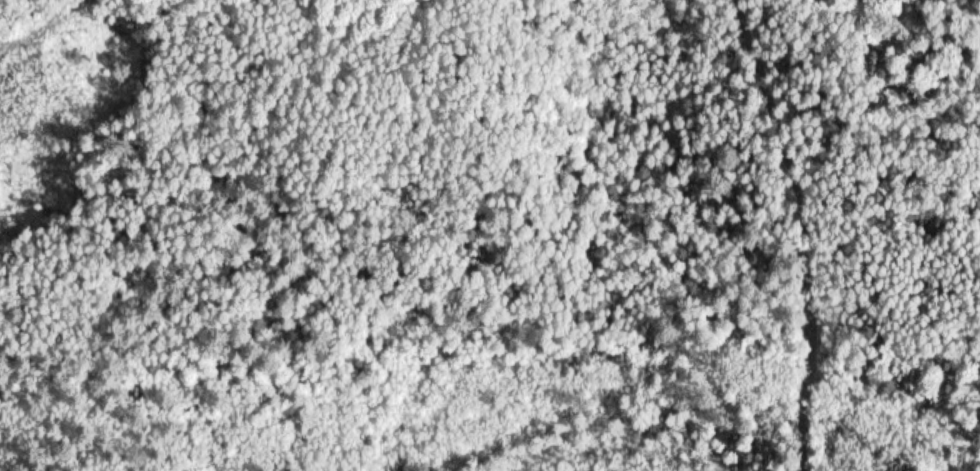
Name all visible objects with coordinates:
road: (833, 234)

